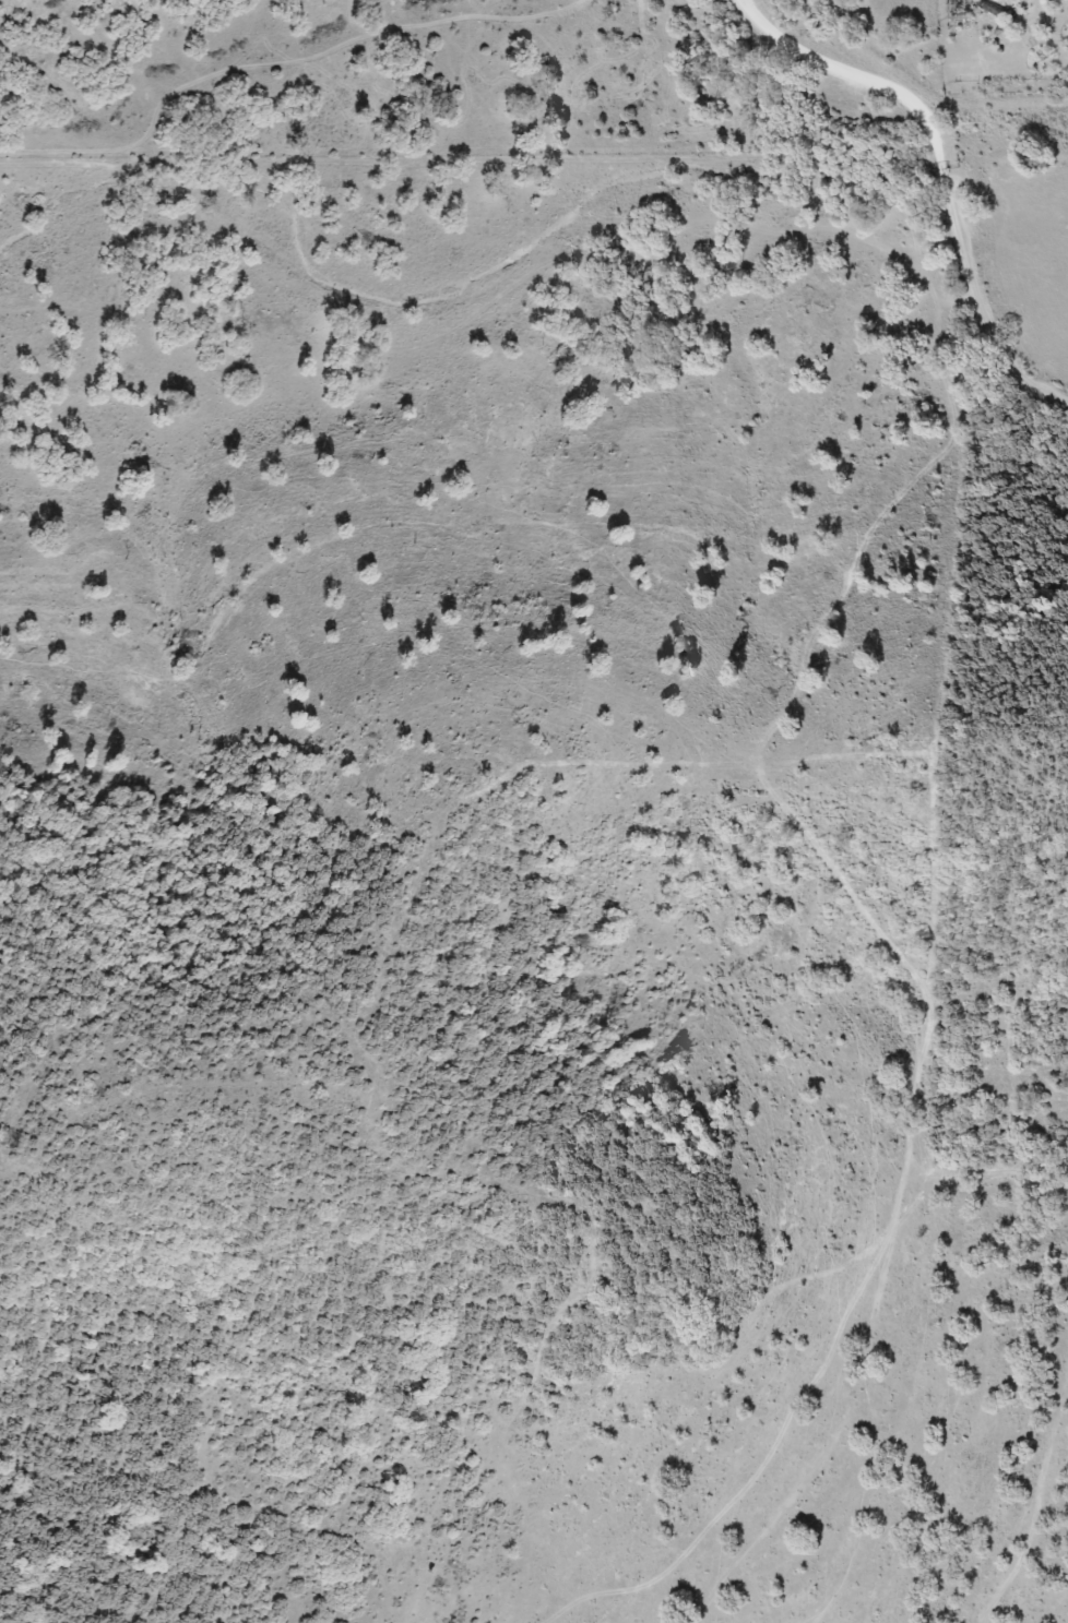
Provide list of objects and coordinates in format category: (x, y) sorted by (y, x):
road: (950, 174)

